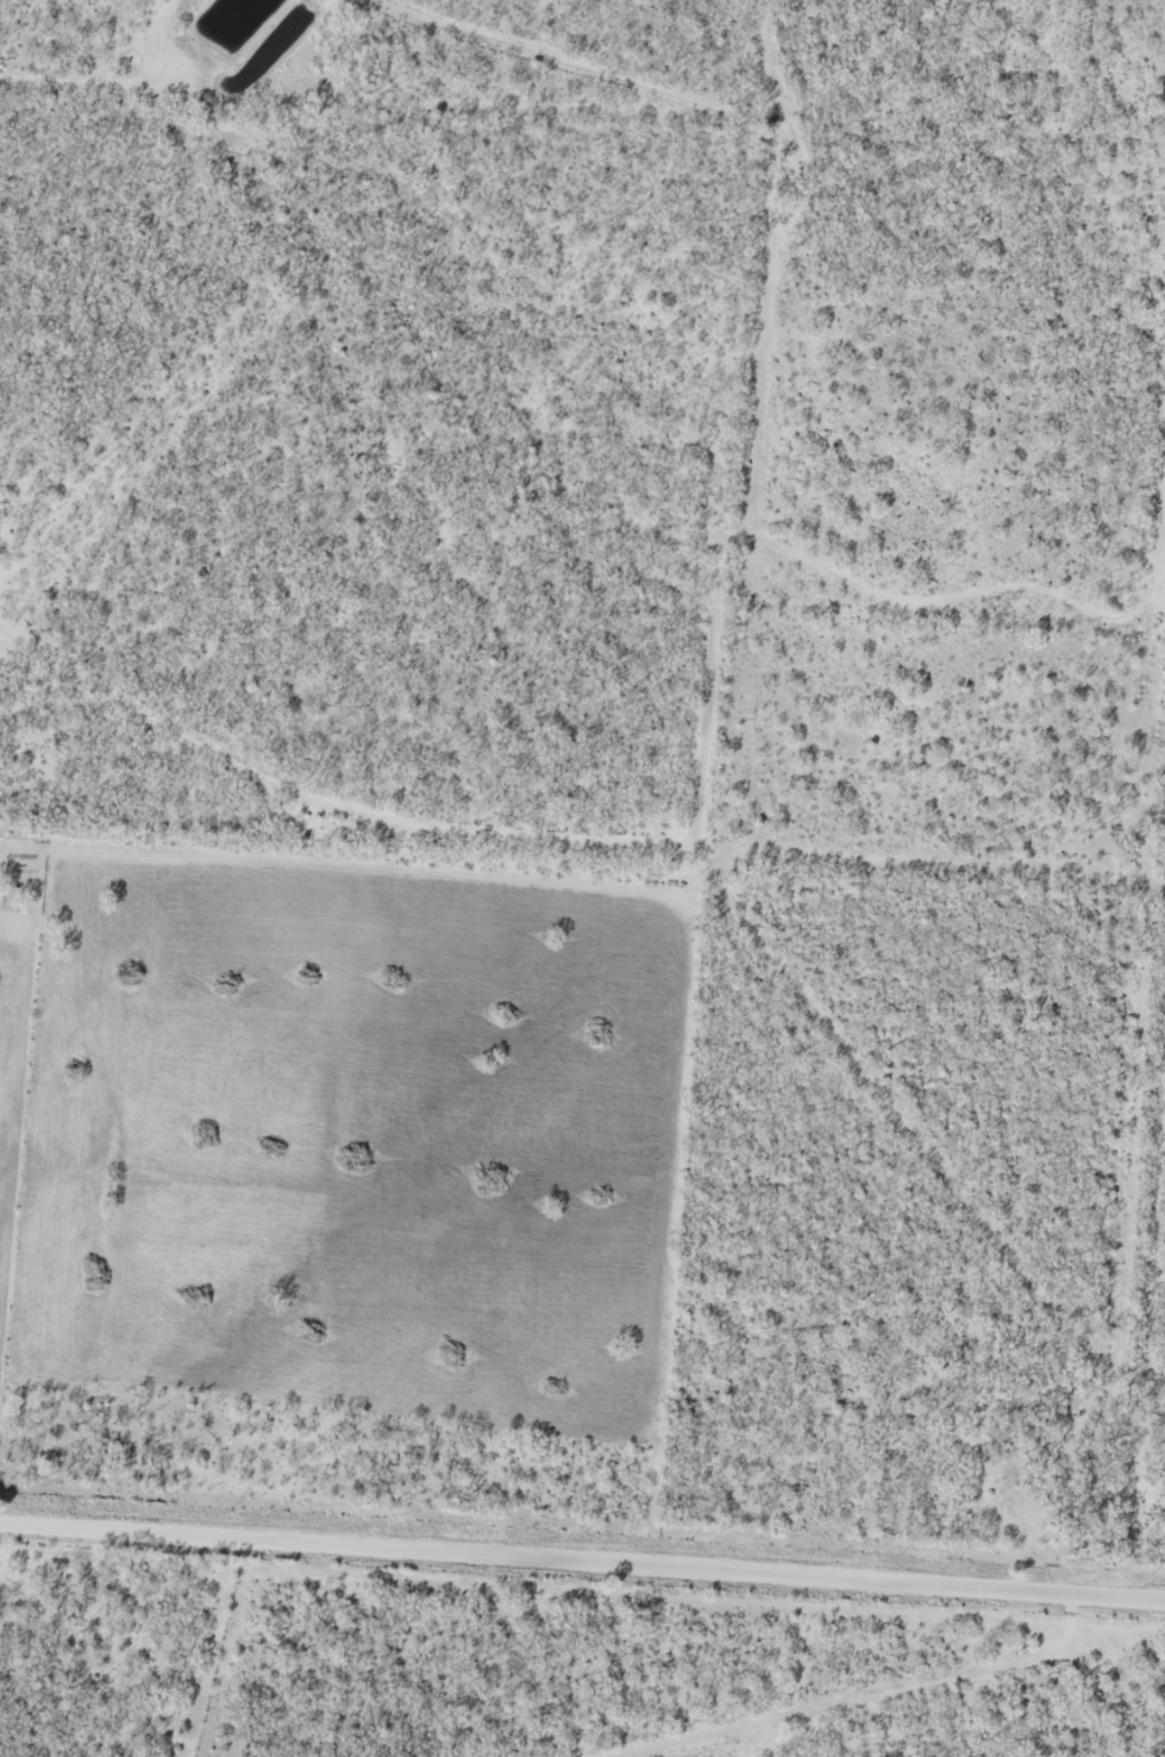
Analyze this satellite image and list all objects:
road: (582, 1546)

